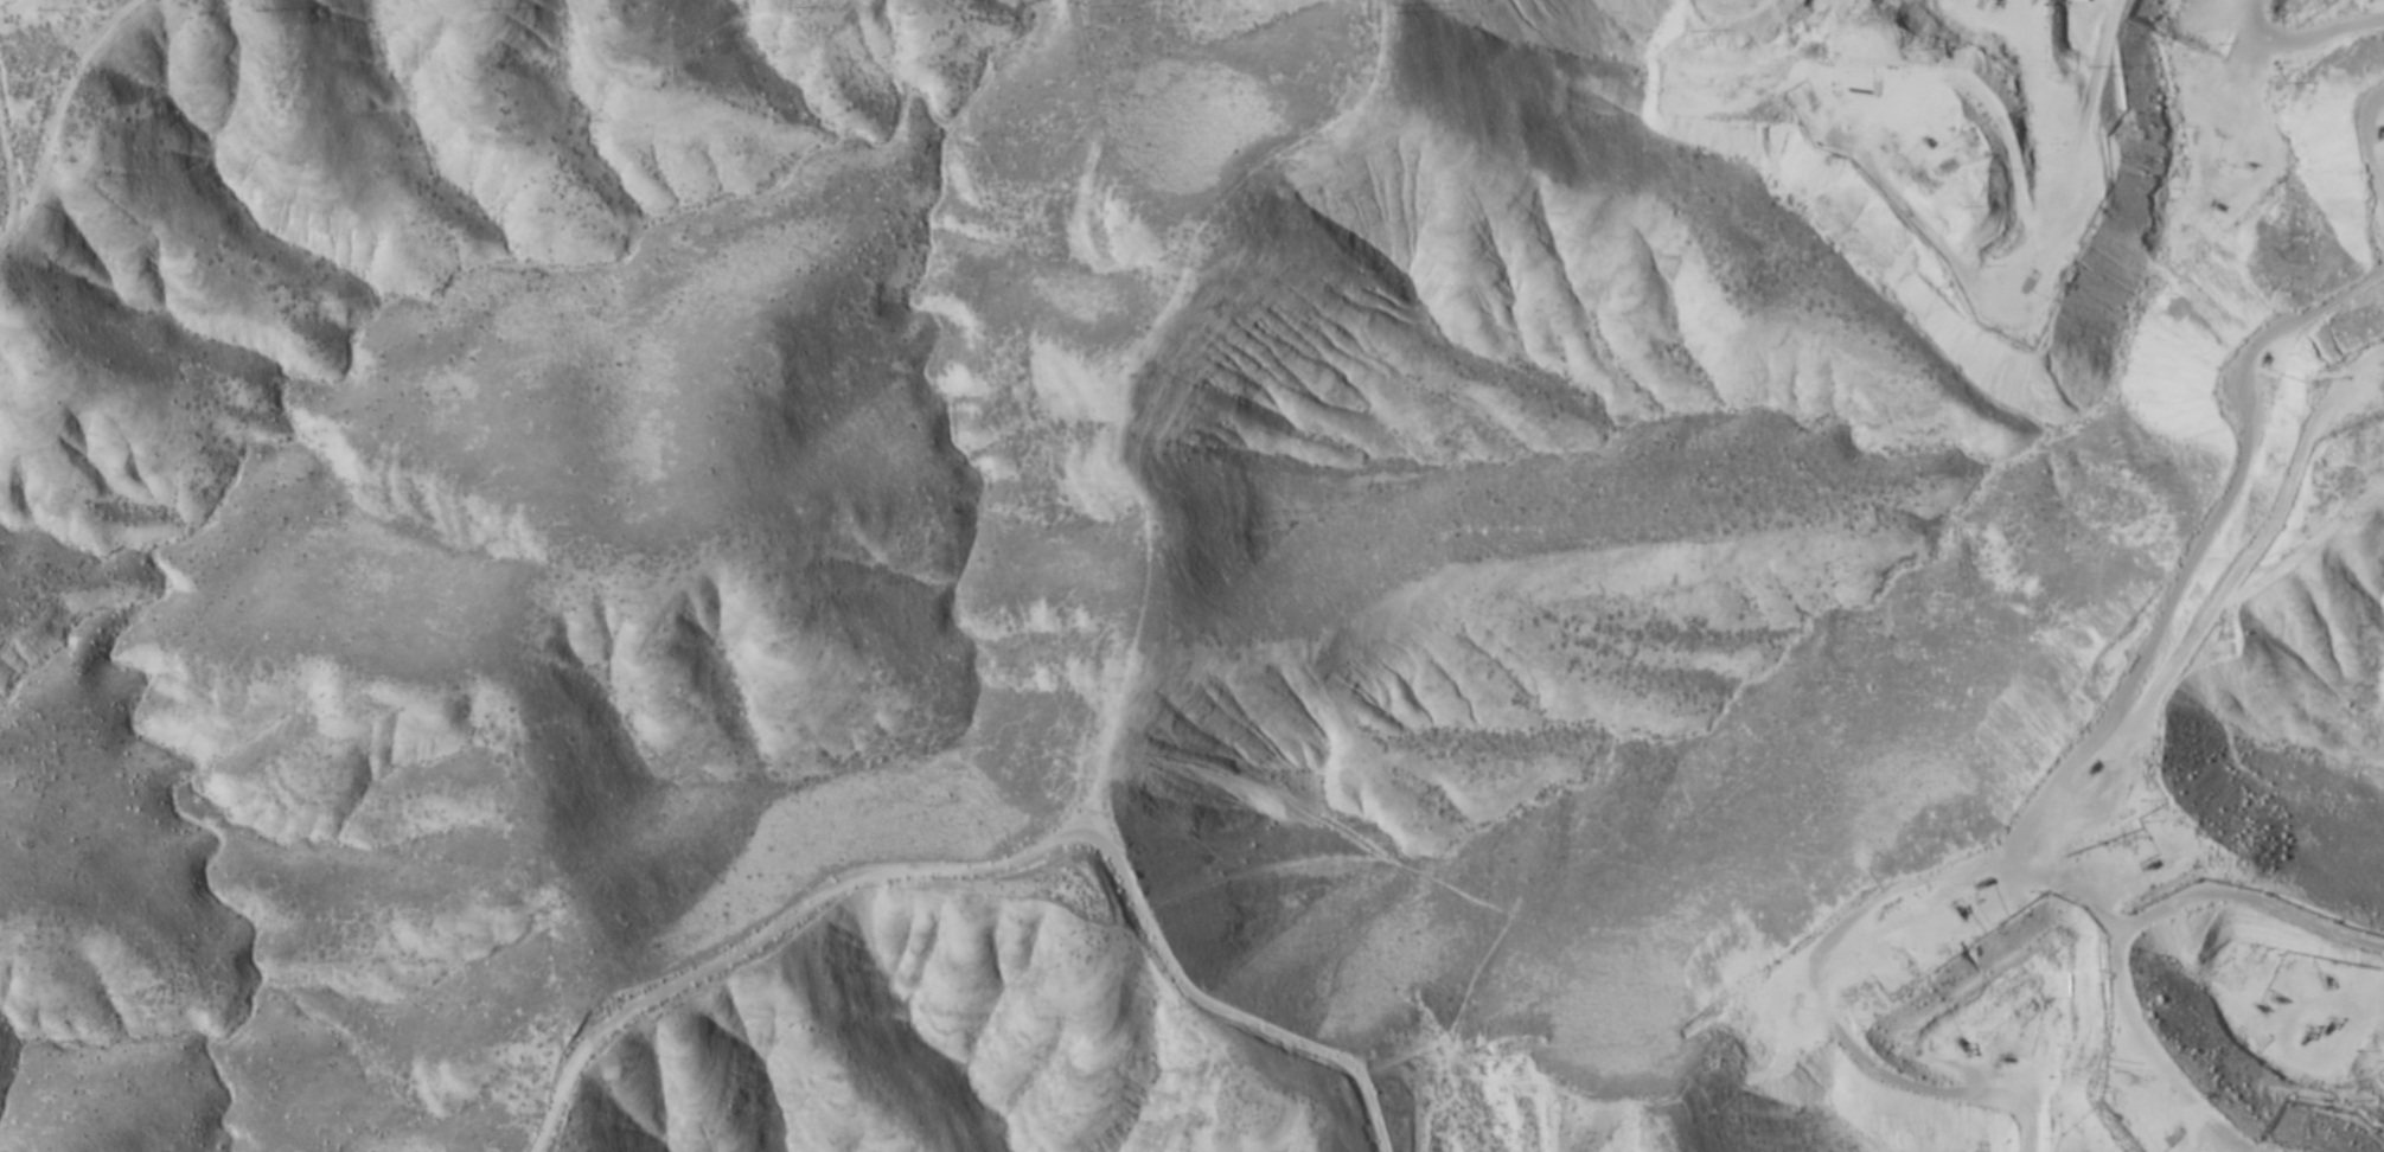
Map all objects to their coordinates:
road: (2009, 11)
road: (63, 115)

